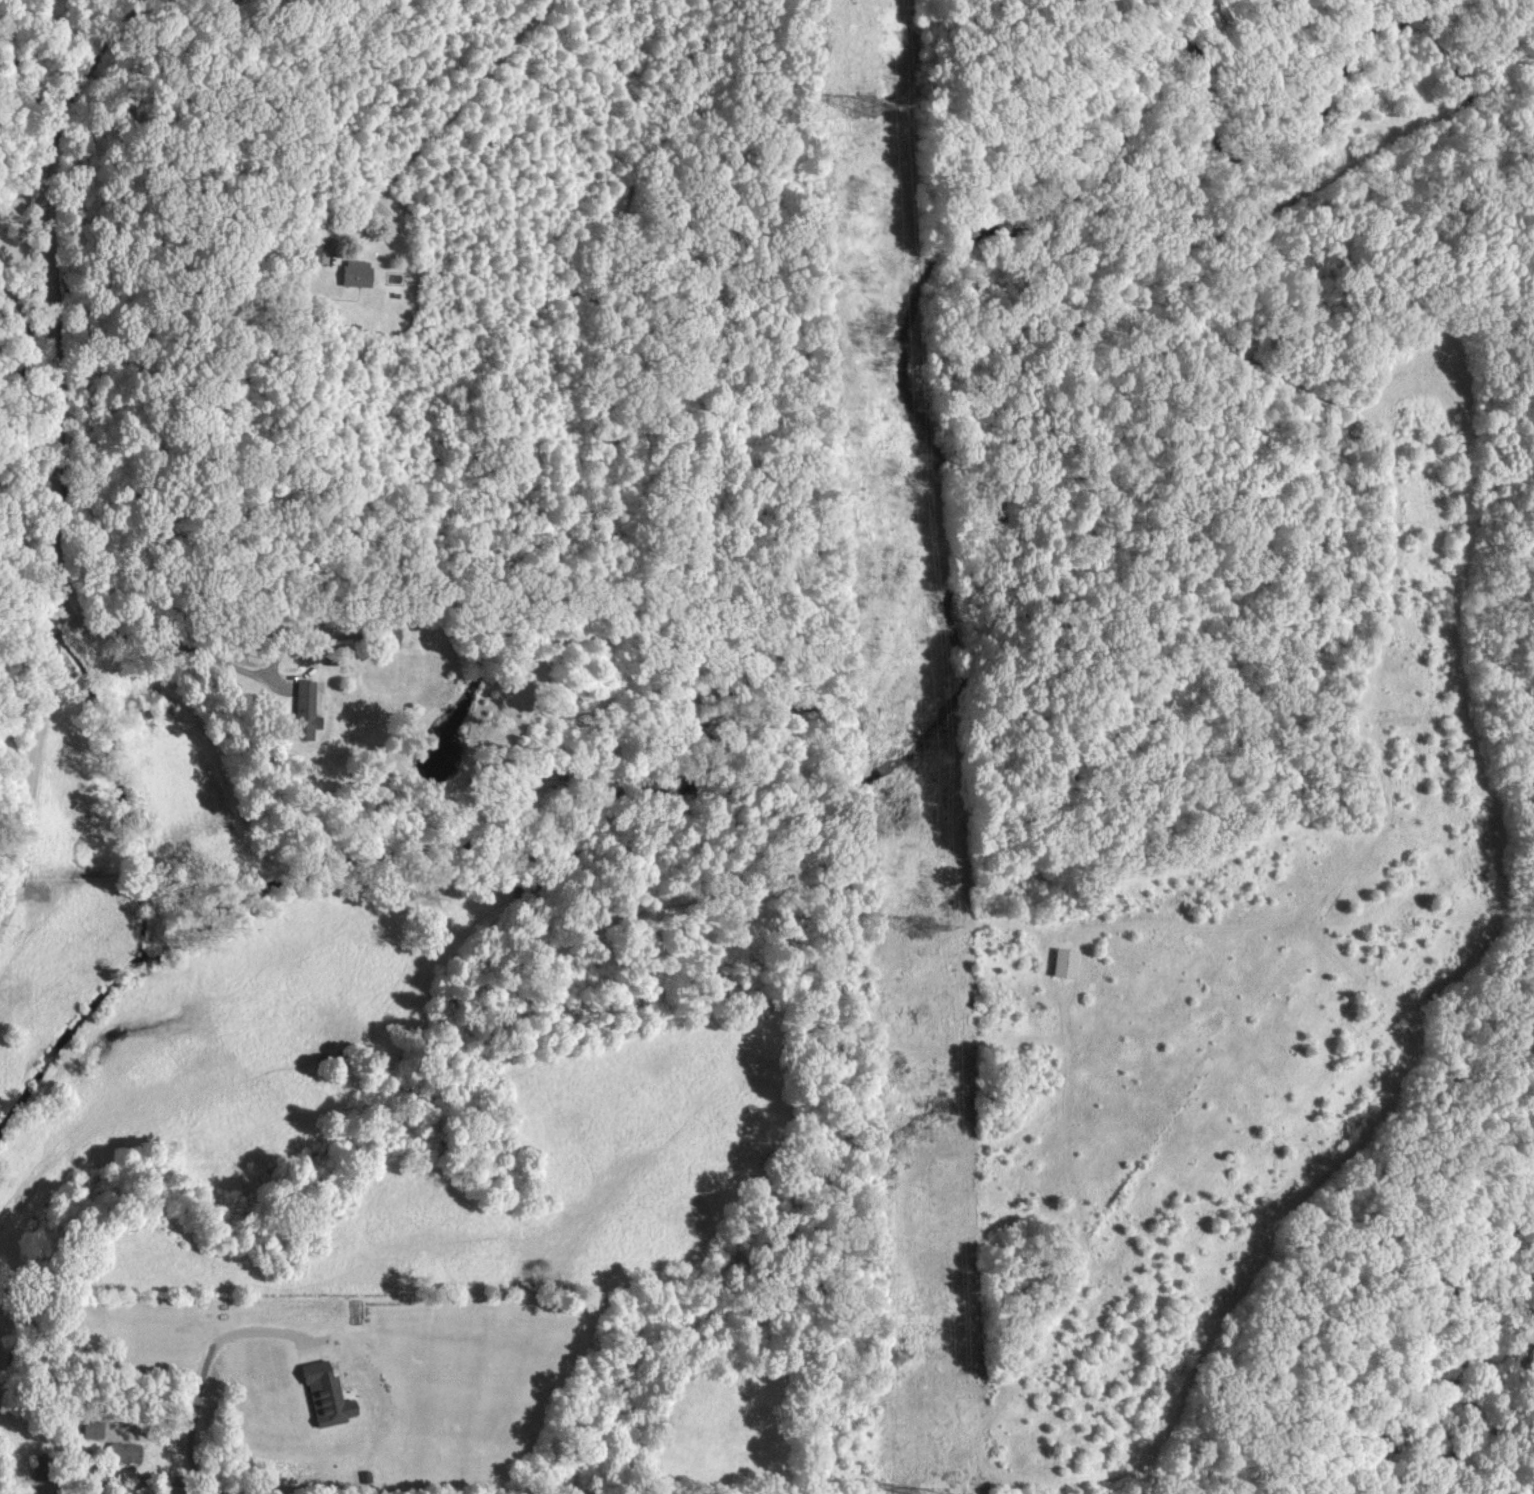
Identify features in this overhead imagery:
power tower: (862, 107)
road: (460, 127)
road: (56, 408)
road: (124, 660)
power tower: (926, 928)
road: (202, 1377)

